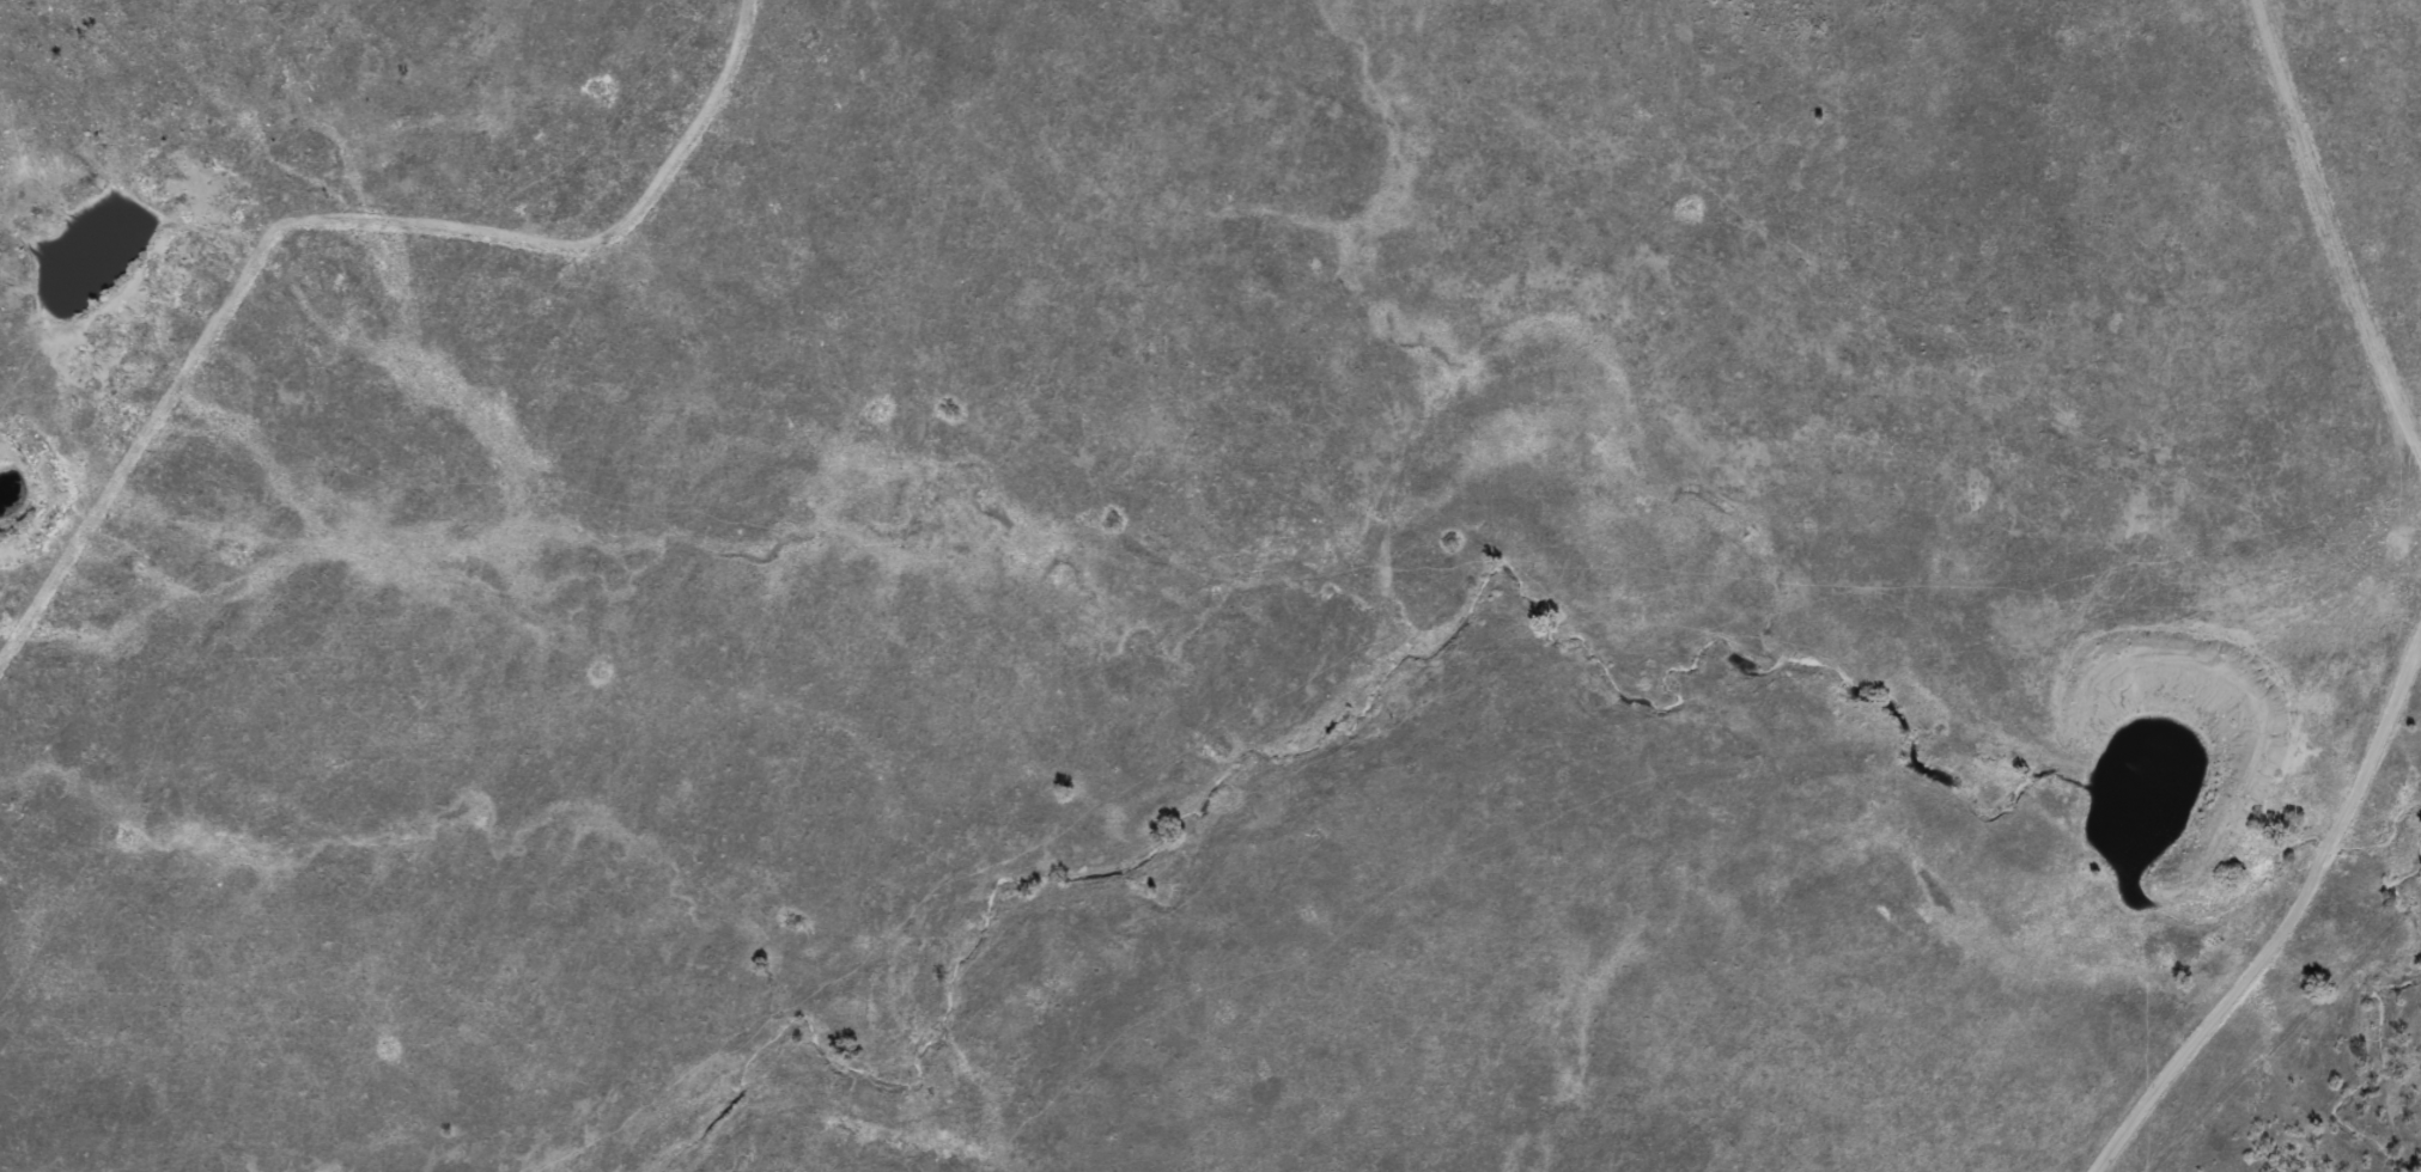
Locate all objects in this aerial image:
road: (2314, 227)
road: (433, 460)
road: (2250, 904)

